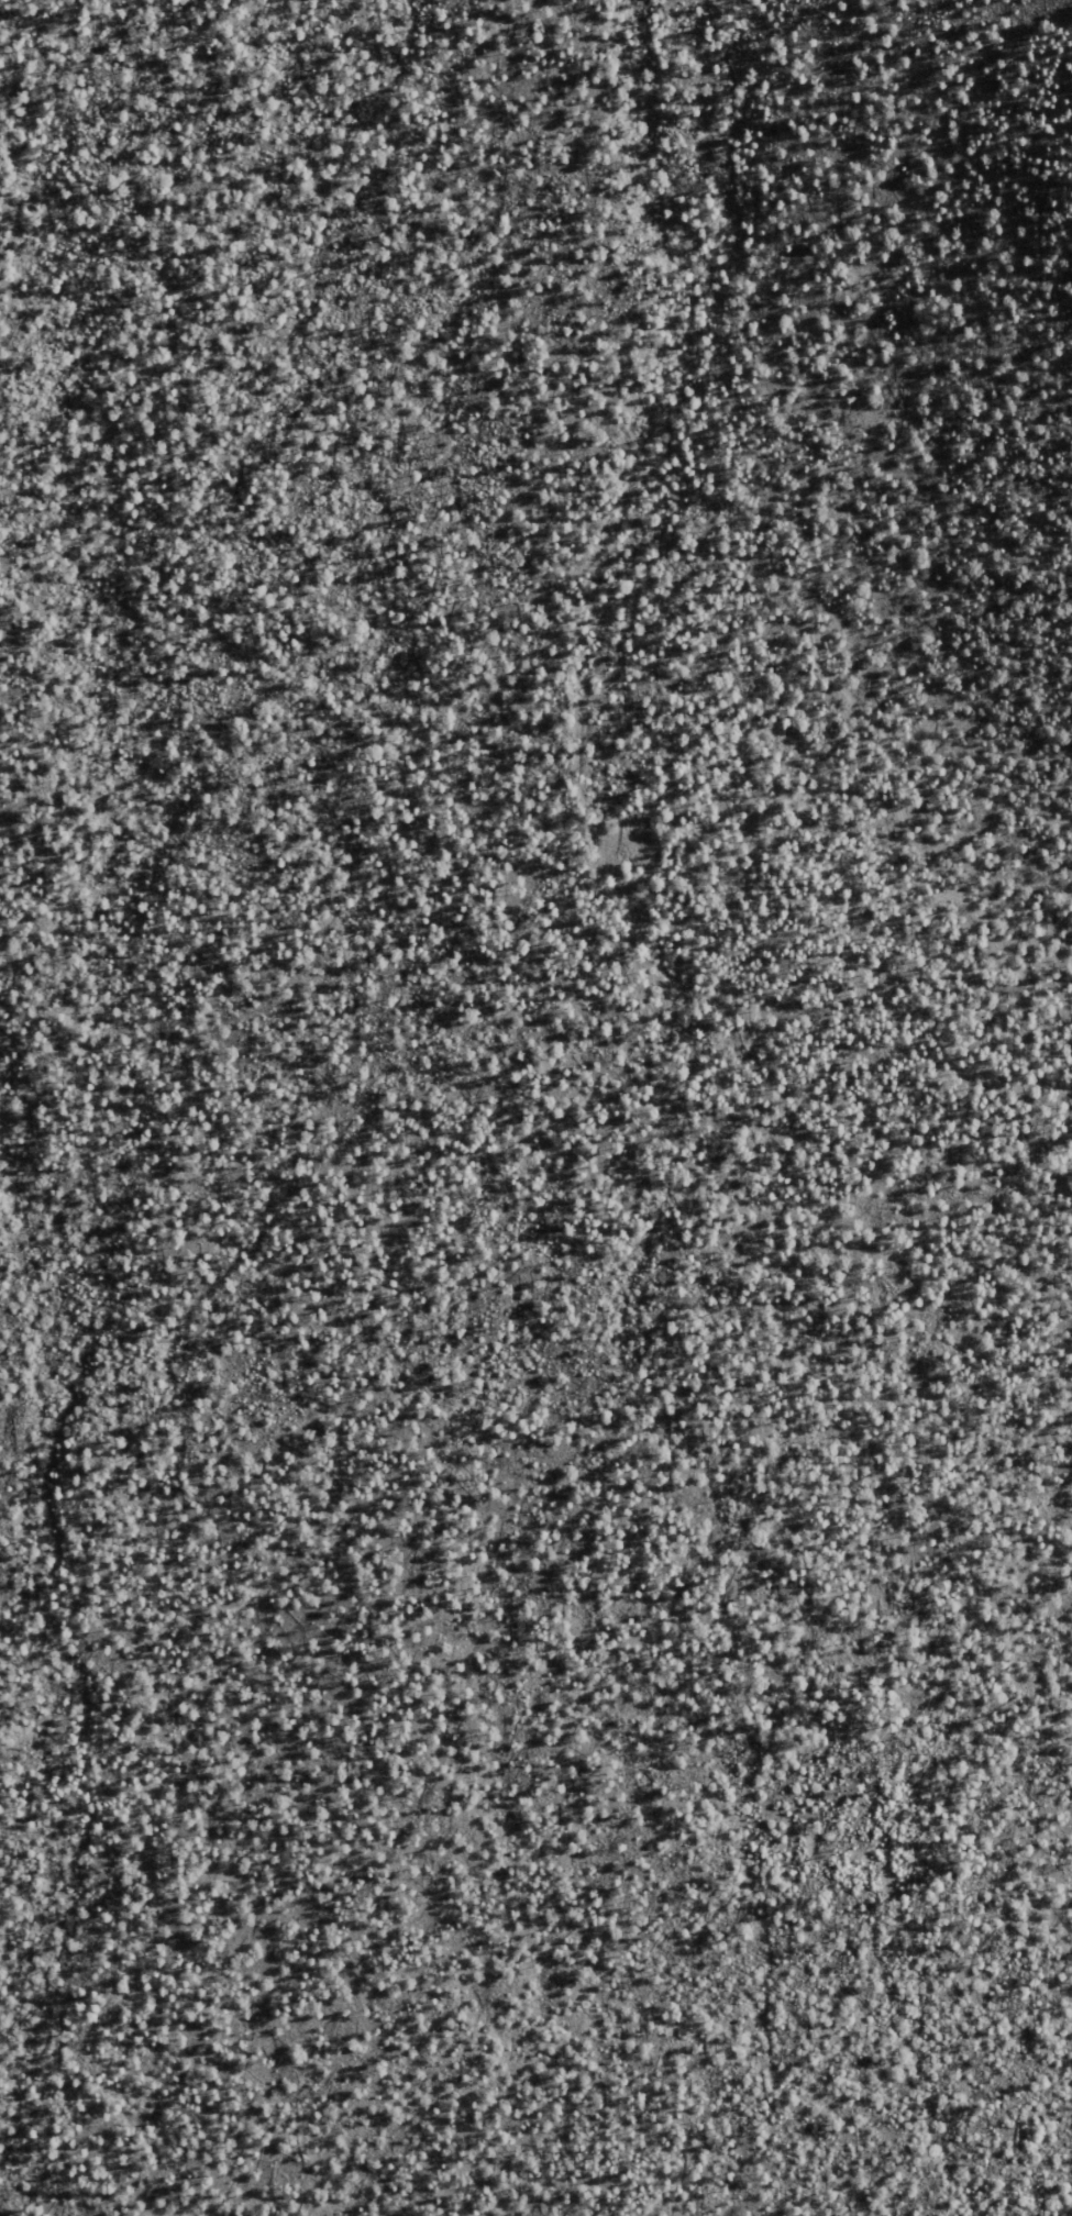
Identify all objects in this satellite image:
road: (627, 1019)

